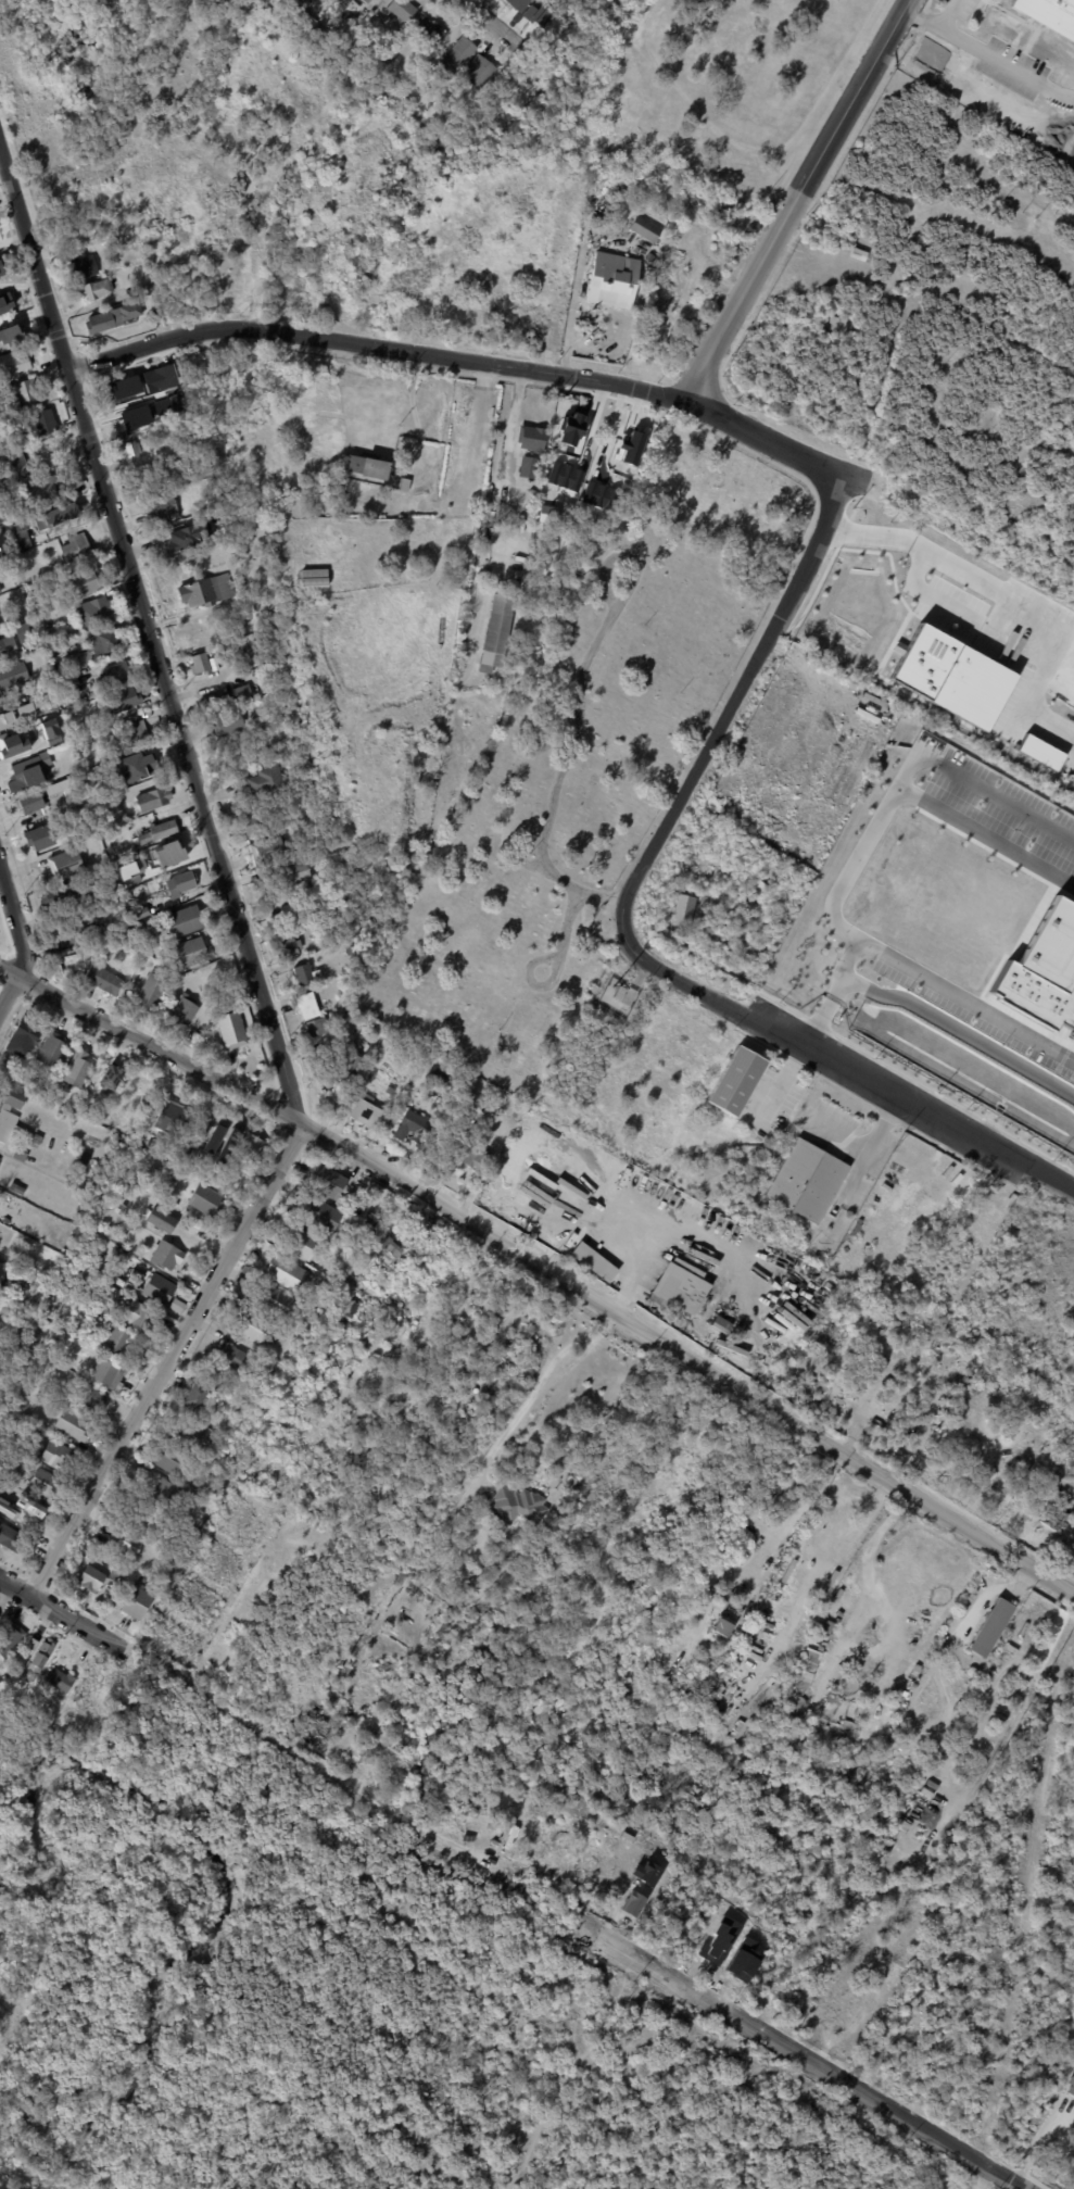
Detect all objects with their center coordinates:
building: (346, 1)
building: (366, 1)
building: (342, 7)
building: (402, 10)
building: (1049, 14)
parking lot: (948, 18)
road: (501, 22)
road: (936, 24)
building: (430, 32)
building: (394, 51)
building: (457, 55)
building: (480, 72)
building: (410, 97)
road: (755, 149)
road: (796, 198)
building: (645, 229)
building: (858, 253)
building: (650, 259)
road: (34, 260)
building: (83, 266)
building: (1, 269)
building: (612, 281)
building: (96, 290)
building: (5, 303)
road: (570, 316)
building: (110, 319)
building: (10, 328)
building: (664, 329)
road: (374, 345)
building: (14, 362)
building: (159, 378)
building: (123, 386)
building: (295, 389)
building: (26, 391)
road: (414, 406)
building: (42, 420)
building: (530, 438)
road: (776, 441)
building: (130, 449)
building: (367, 466)
building: (14, 468)
building: (159, 475)
road: (504, 483)
building: (43, 490)
building: (582, 491)
building: (162, 509)
building: (54, 515)
building: (631, 531)
building: (20, 534)
building: (189, 534)
building: (74, 548)
road: (962, 563)
building: (312, 578)
building: (83, 581)
building: (0, 591)
building: (205, 591)
building: (92, 612)
building: (251, 616)
building: (468, 619)
road: (1063, 625)
building: (65, 630)
building: (23, 632)
building: (496, 632)
building: (106, 640)
building: (193, 642)
building: (7, 647)
building: (81, 657)
road: (586, 659)
building: (199, 664)
building: (213, 664)
building: (12, 675)
building: (113, 675)
building: (950, 676)
building: (66, 679)
building: (241, 694)
building: (124, 700)
road: (734, 700)
building: (212, 702)
building: (8, 715)
building: (265, 719)
building: (227, 722)
building: (49, 731)
building: (132, 734)
building: (98, 737)
building: (12, 743)
road: (185, 747)
building: (142, 759)
park: (583, 759)
building: (293, 771)
building: (23, 773)
building: (264, 781)
building: (63, 790)
building: (303, 790)
road: (976, 791)
building: (153, 798)
building: (29, 802)
building: (55, 820)
building: (247, 825)
building: (164, 830)
building: (38, 836)
road: (984, 841)
building: (266, 851)
road: (543, 856)
building: (64, 865)
building: (292, 875)
building: (179, 883)
road: (585, 892)
building: (60, 895)
building: (127, 903)
building: (684, 910)
building: (139, 913)
building: (288, 914)
road: (15, 921)
building: (184, 921)
road: (565, 928)
building: (68, 931)
building: (289, 947)
building: (349, 951)
building: (192, 952)
road: (547, 959)
road: (885, 961)
road: (846, 967)
road: (9, 969)
building: (304, 974)
building: (102, 980)
road: (9, 991)
building: (150, 992)
building: (620, 993)
building: (306, 1006)
building: (186, 1010)
road: (930, 1018)
building: (317, 1027)
building: (231, 1030)
building: (23, 1035)
building: (348, 1040)
building: (52, 1048)
road: (160, 1049)
building: (77, 1067)
road: (836, 1067)
building: (346, 1070)
building: (110, 1075)
building: (441, 1078)
building: (735, 1081)
building: (362, 1110)
building: (11, 1112)
building: (170, 1115)
building: (413, 1128)
building: (35, 1136)
building: (225, 1136)
road: (842, 1137)
building: (250, 1145)
building: (181, 1147)
road: (872, 1148)
building: (20, 1154)
building: (83, 1158)
building: (475, 1158)
building: (0, 1159)
building: (326, 1180)
building: (807, 1180)
building: (496, 1184)
building: (16, 1187)
building: (205, 1199)
building: (122, 1207)
building: (320, 1213)
building: (160, 1218)
building: (7, 1220)
building: (127, 1225)
building: (426, 1228)
building: (857, 1228)
building: (300, 1243)
building: (386, 1249)
building: (164, 1255)
building: (592, 1260)
building: (286, 1272)
building: (146, 1273)
building: (137, 1284)
building: (5, 1286)
building: (156, 1287)
building: (685, 1298)
building: (273, 1299)
building: (1, 1305)
building: (176, 1305)
building: (141, 1318)
building: (339, 1326)
building: (256, 1328)
building: (115, 1339)
building: (233, 1356)
road: (688, 1357)
road: (166, 1361)
building: (333, 1363)
building: (269, 1371)
building: (104, 1372)
building: (463, 1372)
building: (71, 1377)
building: (22, 1385)
building: (194, 1395)
building: (91, 1397)
building: (403, 1397)
building: (71, 1424)
building: (195, 1435)
building: (56, 1454)
building: (169, 1459)
building: (42, 1482)
building: (162, 1492)
building: (17, 1504)
building: (517, 1504)
building: (9, 1510)
building: (30, 1510)
building: (205, 1510)
building: (389, 1512)
building: (147, 1520)
building: (1056, 1520)
building: (11, 1537)
building: (126, 1542)
building: (108, 1562)
building: (115, 1571)
building: (490, 1572)
building: (91, 1577)
building: (142, 1577)
building: (472, 1583)
building: (456, 1584)
building: (136, 1601)
building: (397, 1606)
road: (55, 1612)
building: (696, 1612)
building: (824, 1624)
building: (723, 1625)
building: (989, 1626)
building: (9, 1639)
building: (41, 1655)
building: (803, 1663)
building: (61, 1681)
building: (831, 1697)
building: (798, 1710)
building: (847, 1735)
road: (298, 1741)
building: (718, 1915)
building: (997, 1953)
building: (1024, 1965)
building: (966, 1986)
building: (848, 1997)
building: (975, 2045)
road: (843, 2077)
building: (1071, 2088)
road: (1040, 2142)

